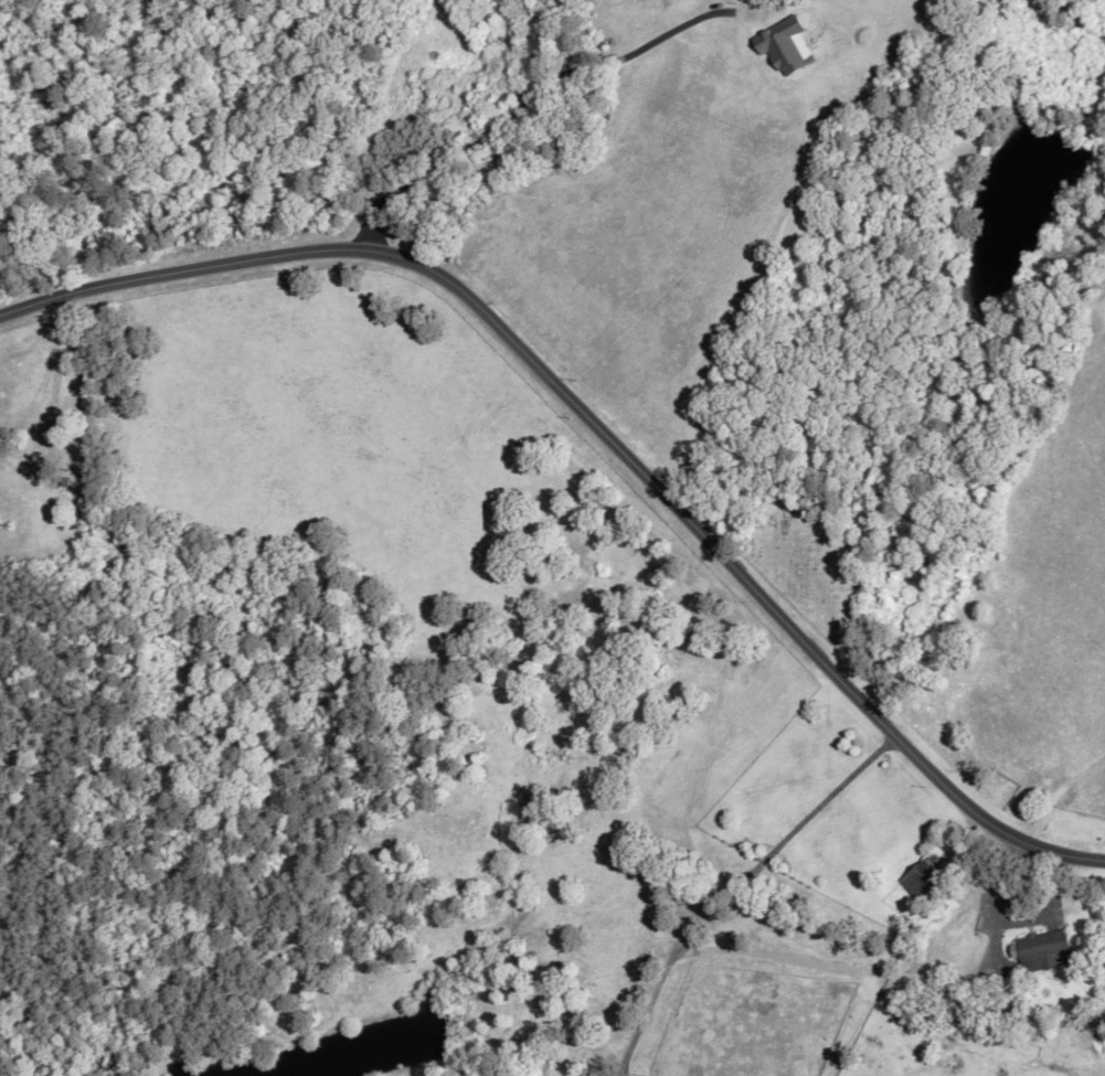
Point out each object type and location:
road: (598, 432)
park: (801, 556)
building: (923, 876)
building: (1042, 950)
road: (762, 955)

